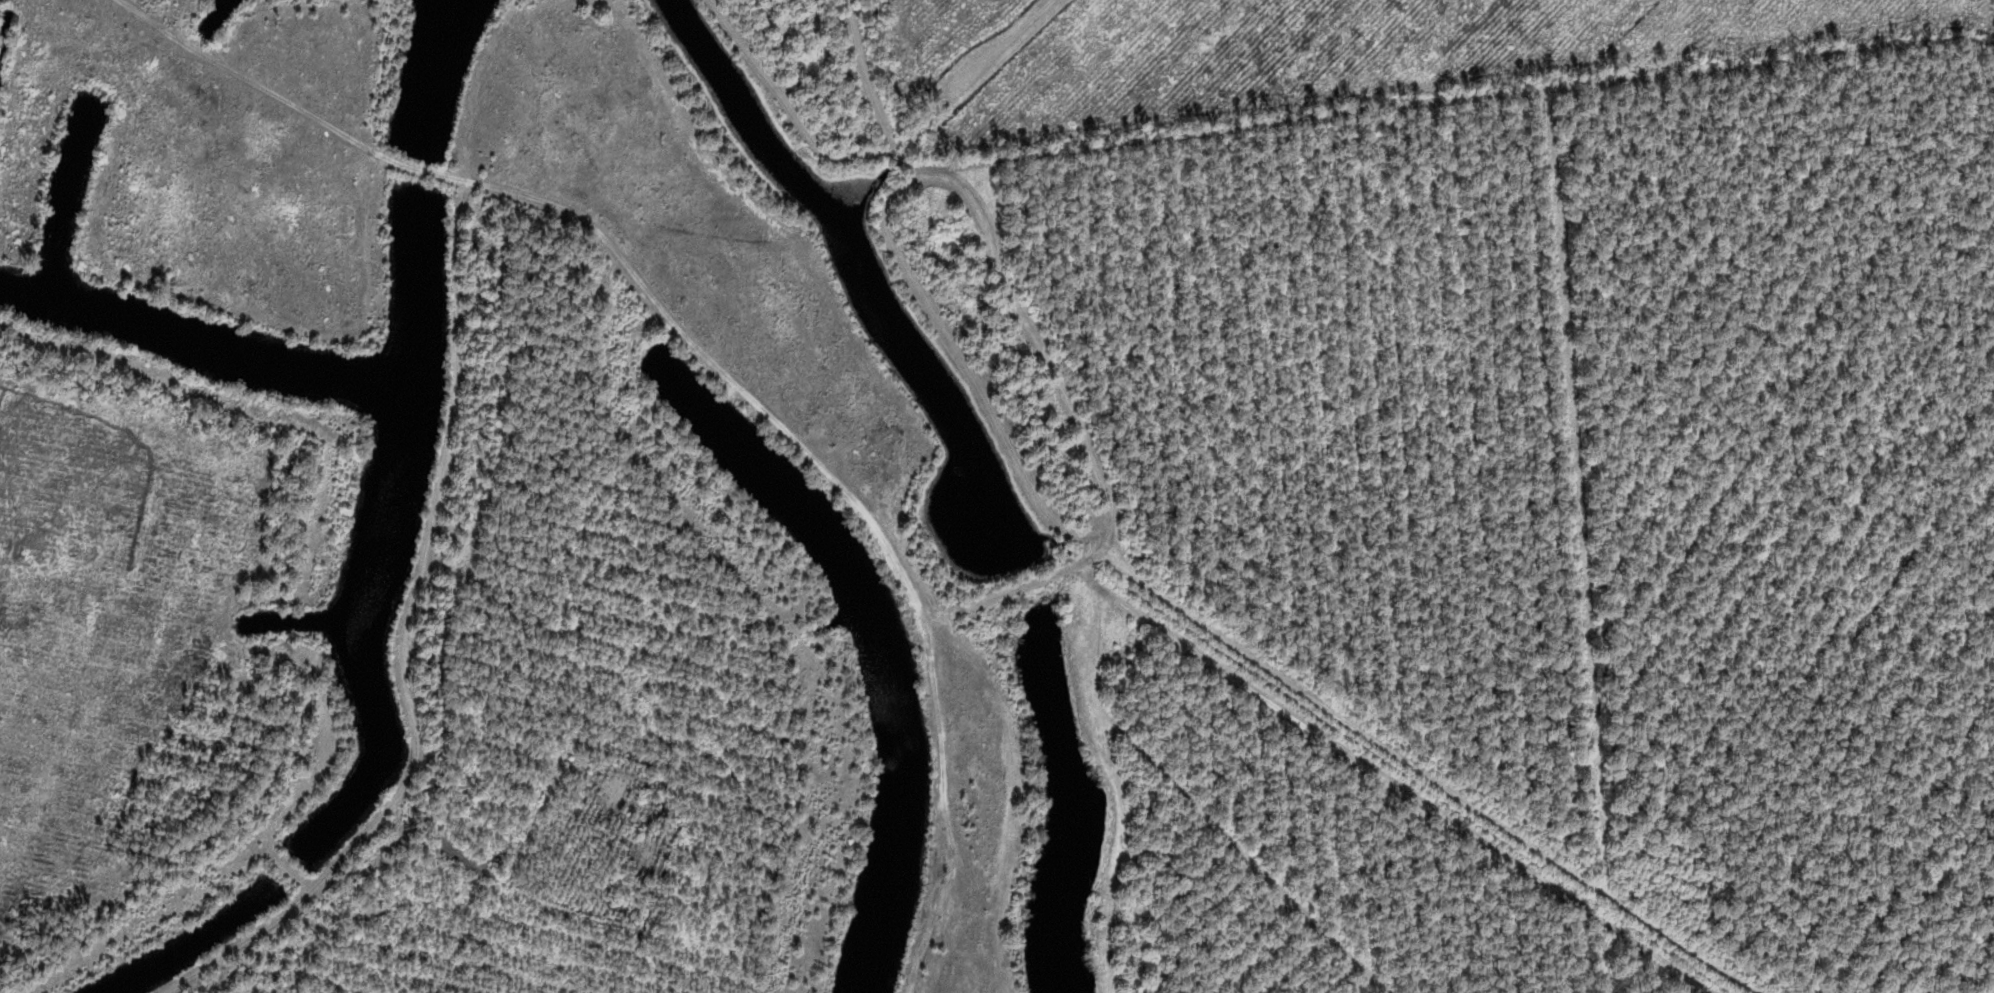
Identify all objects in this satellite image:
road: (995, 51)

